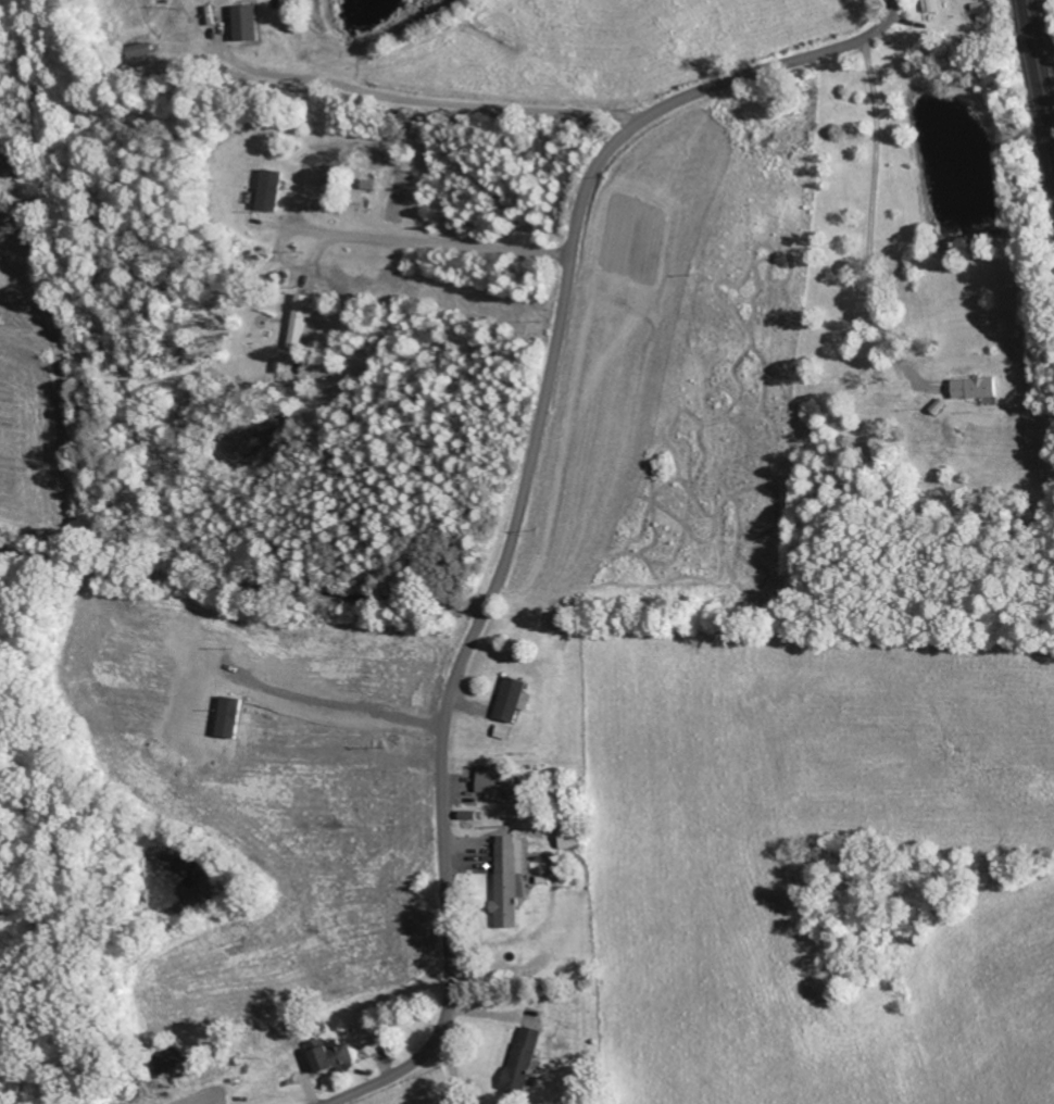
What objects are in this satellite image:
building: (929, 5)
building: (242, 23)
railway: (1042, 59)
railway: (1037, 83)
building: (267, 190)
building: (298, 317)
building: (974, 388)
road: (522, 494)
road: (241, 585)
building: (510, 700)
building: (493, 785)
road: (662, 810)
building: (507, 880)
building: (328, 1055)
building: (522, 1059)
building: (164, 1061)
road: (448, 1070)

